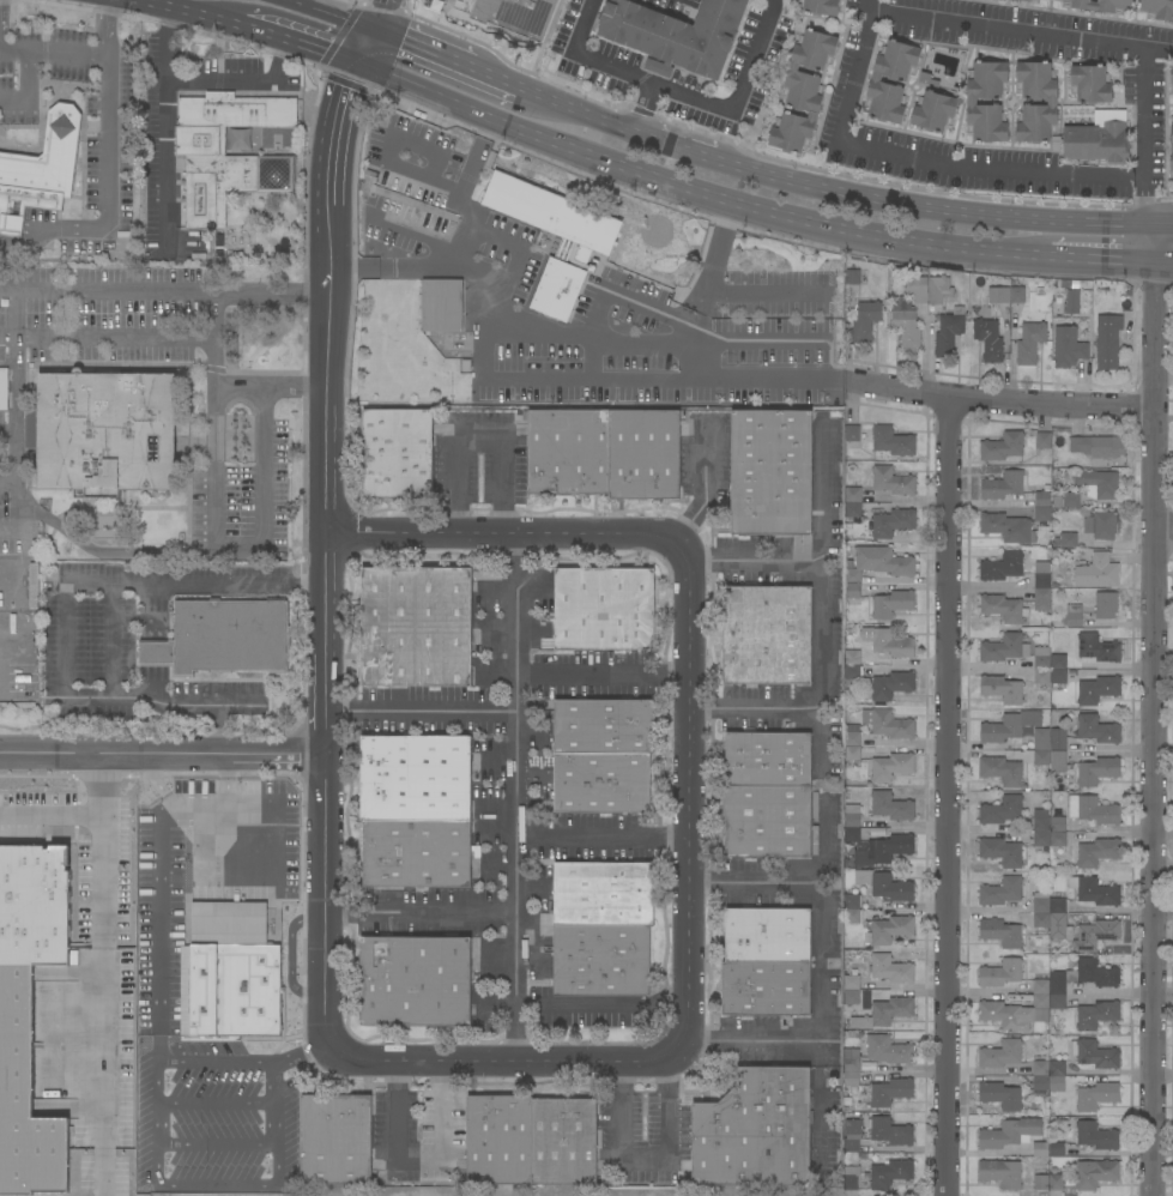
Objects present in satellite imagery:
road: (358, 0)
traffic signals: (383, 0)
building: (1023, 0)
road: (404, 5)
building: (1100, 5)
parking lot: (676, 6)
road: (869, 6)
building: (821, 7)
building: (1157, 8)
road: (870, 12)
road: (186, 14)
road: (327, 14)
road: (376, 14)
building: (504, 14)
building: (676, 34)
parking lot: (568, 37)
traffic signals: (400, 42)
road: (329, 44)
road: (362, 47)
road: (297, 48)
road: (53, 50)
road: (421, 50)
road: (1159, 50)
traffic signals: (319, 55)
building: (658, 67)
building: (1172, 75)
parking lot: (683, 77)
road: (202, 79)
road: (495, 79)
building: (927, 79)
building: (876, 81)
building: (1090, 84)
traffic signals: (343, 89)
road: (28, 90)
building: (802, 90)
parking lot: (1147, 92)
road: (679, 95)
road: (554, 101)
building: (972, 102)
building: (1051, 102)
road: (640, 107)
building: (933, 111)
road: (495, 119)
road: (610, 121)
road: (334, 132)
building: (1096, 143)
road: (672, 144)
building: (1172, 145)
building: (220, 150)
road: (385, 150)
road: (167, 165)
road: (108, 168)
building: (40, 171)
road: (659, 181)
road: (458, 194)
building: (415, 203)
road: (926, 209)
road: (1160, 224)
road: (413, 234)
road: (861, 234)
building: (587, 243)
building: (217, 244)
road: (520, 252)
road: (714, 256)
road: (1099, 259)
road: (1161, 262)
building: (852, 277)
building: (917, 289)
building: (939, 289)
road: (164, 291)
road: (766, 291)
road: (615, 294)
building: (997, 295)
building: (1016, 295)
building: (1071, 302)
building: (441, 304)
building: (865, 321)
building: (906, 330)
road: (108, 334)
building: (948, 334)
building: (988, 340)
building: (1107, 340)
parking lot: (81, 343)
road: (653, 343)
building: (1029, 343)
building: (1068, 348)
road: (500, 376)
road: (776, 380)
road: (14, 385)
building: (4, 388)
road: (272, 388)
road: (1002, 403)
road: (217, 422)
road: (7, 433)
building: (103, 433)
road: (476, 436)
building: (851, 436)
building: (1042, 440)
building: (893, 441)
building: (1002, 447)
building: (1098, 447)
building: (568, 451)
building: (397, 454)
building: (643, 454)
parking lot: (479, 459)
building: (770, 472)
road: (8, 479)
building: (891, 481)
building: (1099, 483)
building: (1002, 485)
road: (262, 495)
building: (852, 495)
parking lot: (242, 496)
building: (1042, 497)
building: (1070, 500)
building: (852, 509)
road: (17, 513)
building: (1041, 514)
building: (893, 523)
building: (1100, 525)
building: (1006, 527)
road: (1162, 532)
road: (506, 537)
building: (1068, 540)
road: (101, 552)
parking lot: (760, 558)
road: (755, 563)
building: (879, 563)
building: (1000, 567)
building: (1096, 573)
building: (488, 575)
building: (1041, 580)
building: (32, 585)
building: (852, 591)
building: (1041, 599)
building: (891, 604)
building: (1105, 605)
building: (604, 609)
building: (1002, 609)
building: (1074, 616)
building: (416, 627)
parking lot: (87, 633)
building: (767, 635)
building: (222, 638)
building: (891, 644)
road: (66, 645)
road: (111, 645)
building: (1004, 648)
building: (1098, 648)
building: (852, 654)
road: (325, 658)
building: (1041, 658)
building: (1057, 662)
building: (852, 672)
parking lot: (592, 676)
road: (600, 678)
building: (1057, 678)
building: (1041, 682)
building: (891, 685)
building: (1000, 689)
building: (1098, 689)
parking lot: (768, 708)
parking lot: (429, 709)
road: (757, 709)
road: (1153, 709)
road: (419, 711)
building: (888, 724)
building: (604, 726)
building: (1008, 726)
building: (1098, 730)
building: (852, 735)
building: (1040, 738)
building: (1057, 739)
road: (162, 755)
building: (852, 756)
building: (1041, 757)
building: (767, 760)
building: (1057, 762)
building: (891, 767)
building: (1000, 771)
building: (1096, 772)
building: (415, 778)
road: (103, 779)
road: (149, 780)
road: (226, 781)
building: (601, 783)
road: (688, 797)
road: (949, 797)
road: (513, 798)
road: (195, 807)
building: (891, 807)
road: (826, 808)
building: (1000, 810)
building: (1092, 810)
building: (767, 822)
building: (1058, 824)
building: (1040, 828)
road: (600, 833)
parking lot: (588, 836)
building: (1057, 839)
building: (871, 842)
building: (1000, 852)
building: (1096, 852)
road: (225, 853)
building: (417, 853)
parking lot: (764, 880)
road: (757, 882)
building: (884, 886)
building: (1093, 890)
building: (1000, 892)
building: (603, 894)
building: (851, 901)
building: (1040, 902)
parking lot: (424, 910)
road: (418, 911)
building: (851, 917)
building: (1040, 920)
building: (1058, 920)
building: (890, 929)
road: (158, 932)
building: (1000, 934)
building: (767, 935)
building: (1095, 935)
road: (104, 947)
road: (290, 955)
building: (600, 960)
building: (890, 968)
building: (228, 973)
building: (1000, 973)
building: (1080, 979)
building: (415, 981)
building: (851, 983)
building: (1040, 986)
building: (766, 987)
building: (851, 997)
road: (600, 1005)
building: (884, 1013)
building: (1011, 1013)
building: (1096, 1015)
building: (30, 1020)
parking lot: (267, 1020)
building: (890, 1050)
road: (297, 1052)
building: (999, 1053)
building: (1094, 1053)
road: (212, 1062)
road: (543, 1064)
building: (851, 1067)
building: (1040, 1068)
building: (1057, 1068)
road: (156, 1083)
building: (1040, 1083)
building: (1057, 1083)
building: (889, 1092)
building: (999, 1095)
building: (1095, 1095)
road: (272, 1101)
road: (214, 1104)
road: (817, 1107)
road: (156, 1124)
parking lot: (416, 1128)
building: (755, 1130)
parking lot: (643, 1131)
building: (889, 1131)
building: (1009, 1132)
building: (851, 1135)
building: (1095, 1135)
building: (335, 1140)
building: (498, 1140)
building: (563, 1141)
road: (216, 1143)
building: (1040, 1149)
building: (1056, 1149)
road: (415, 1158)
road: (643, 1165)
building: (890, 1173)
building: (1000, 1173)
building: (1095, 1173)
building: (849, 1177)
building: (1056, 1182)
building: (1040, 1183)
road: (217, 1185)

